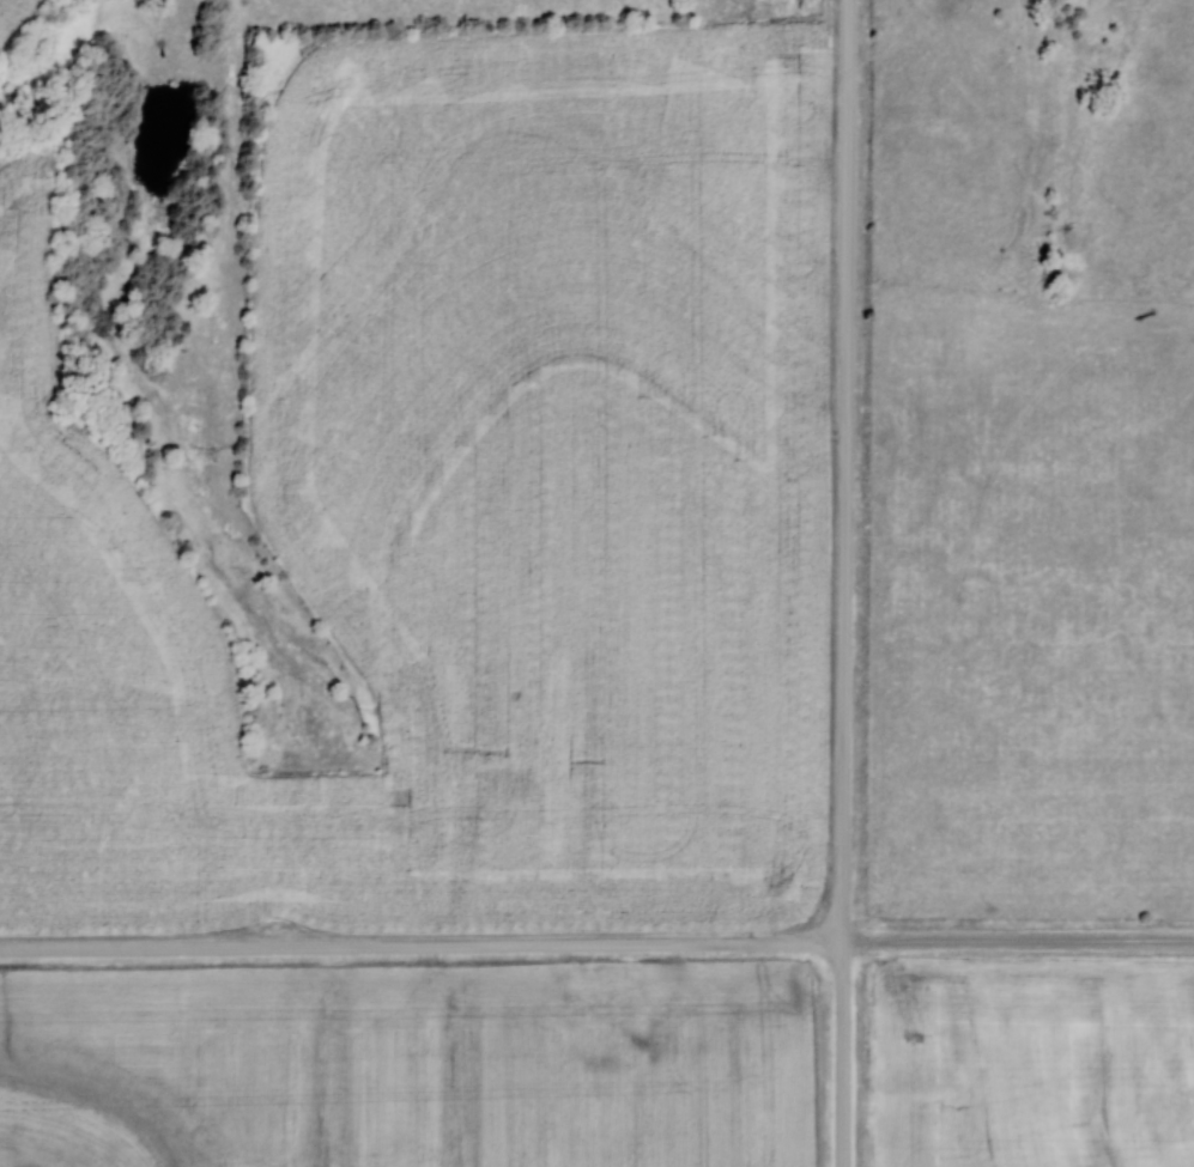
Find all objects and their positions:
road: (849, 583)
road: (596, 948)
building: (624, 1007)
building: (649, 1008)

